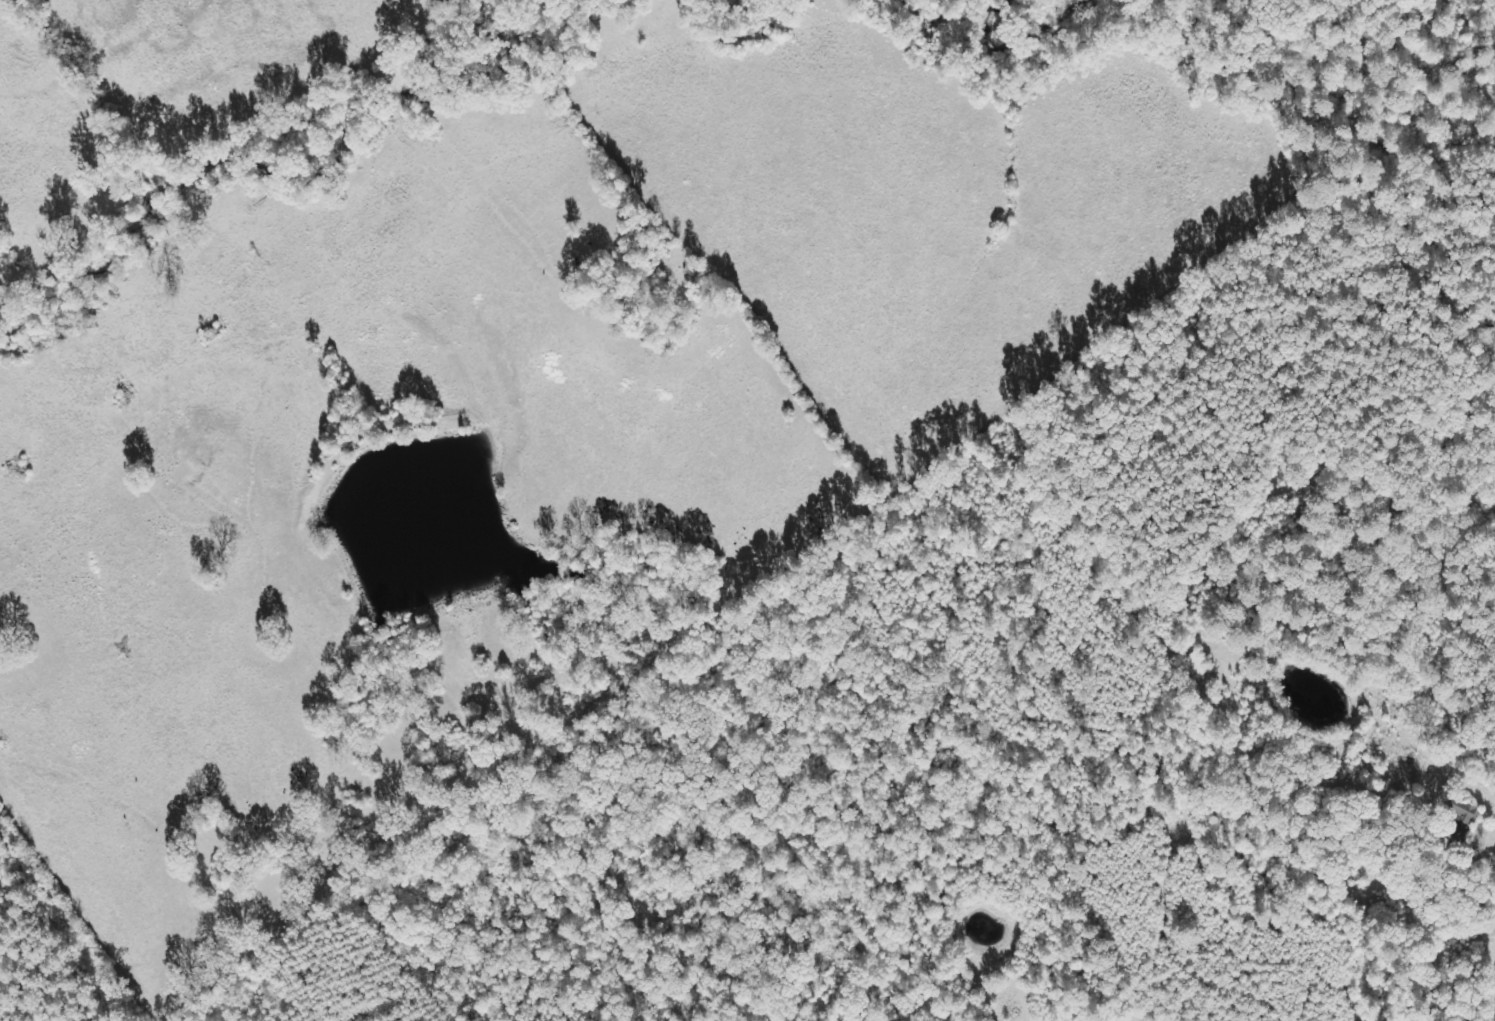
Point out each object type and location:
building: (1461, 817)

